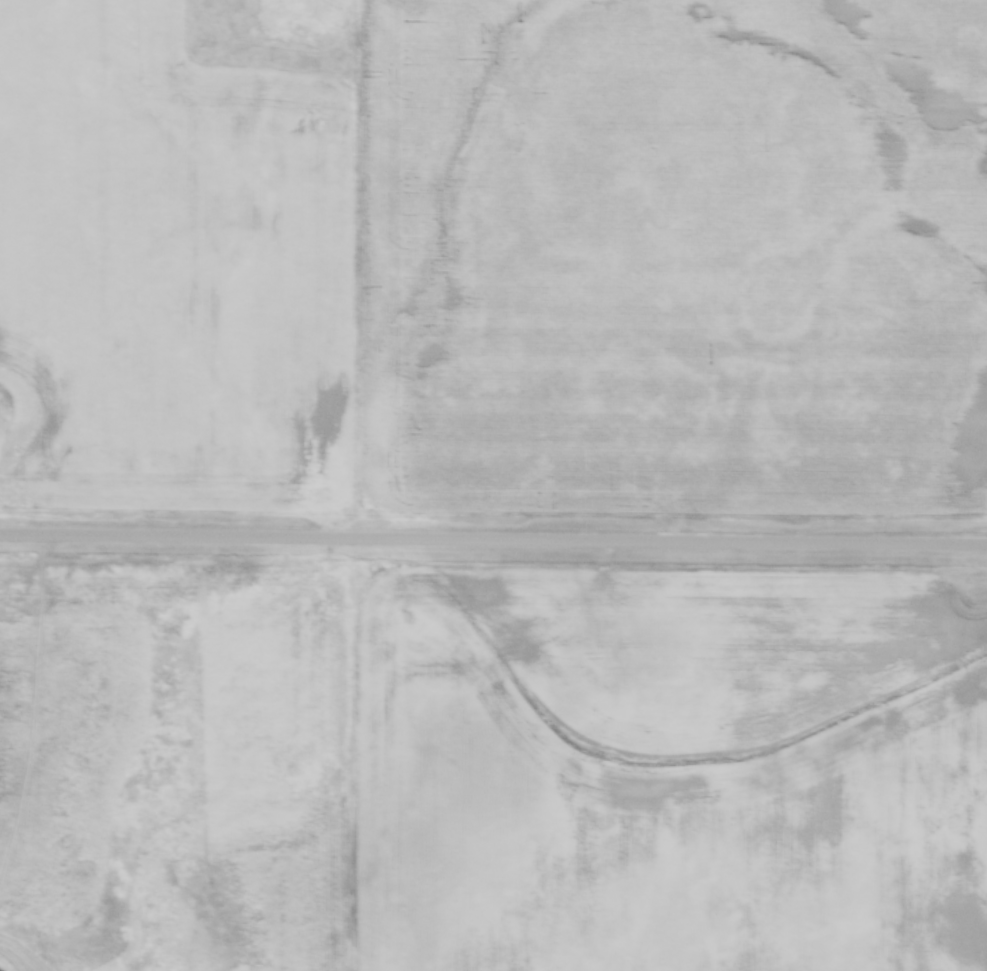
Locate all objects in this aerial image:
road: (493, 540)

